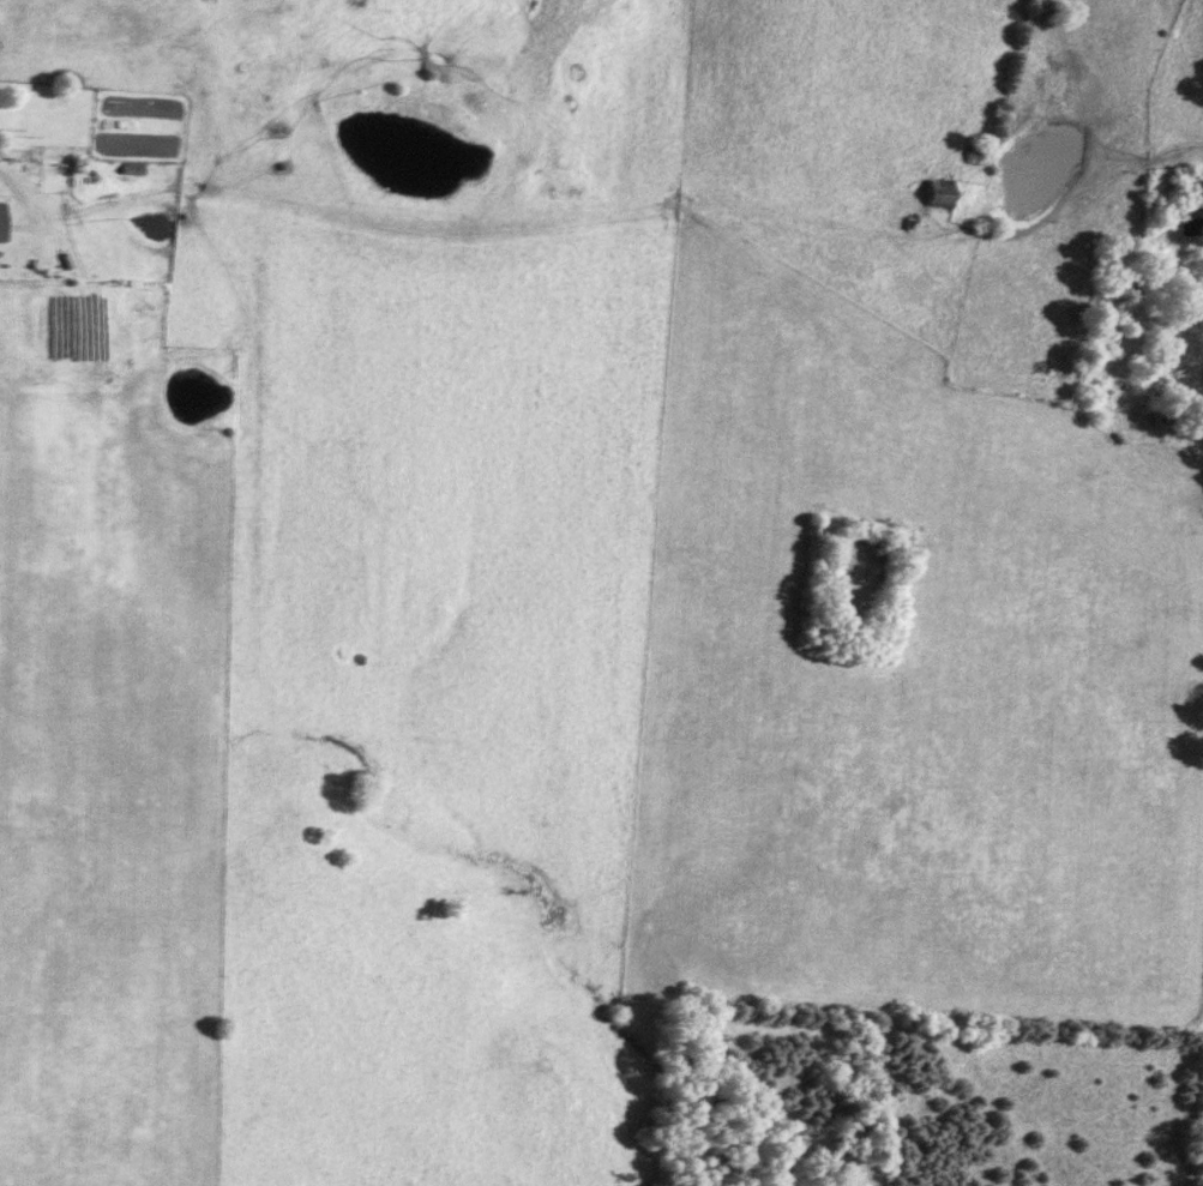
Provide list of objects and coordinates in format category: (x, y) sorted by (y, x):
building: (967, 155)
building: (933, 195)
building: (1183, 221)
building: (1042, 372)

